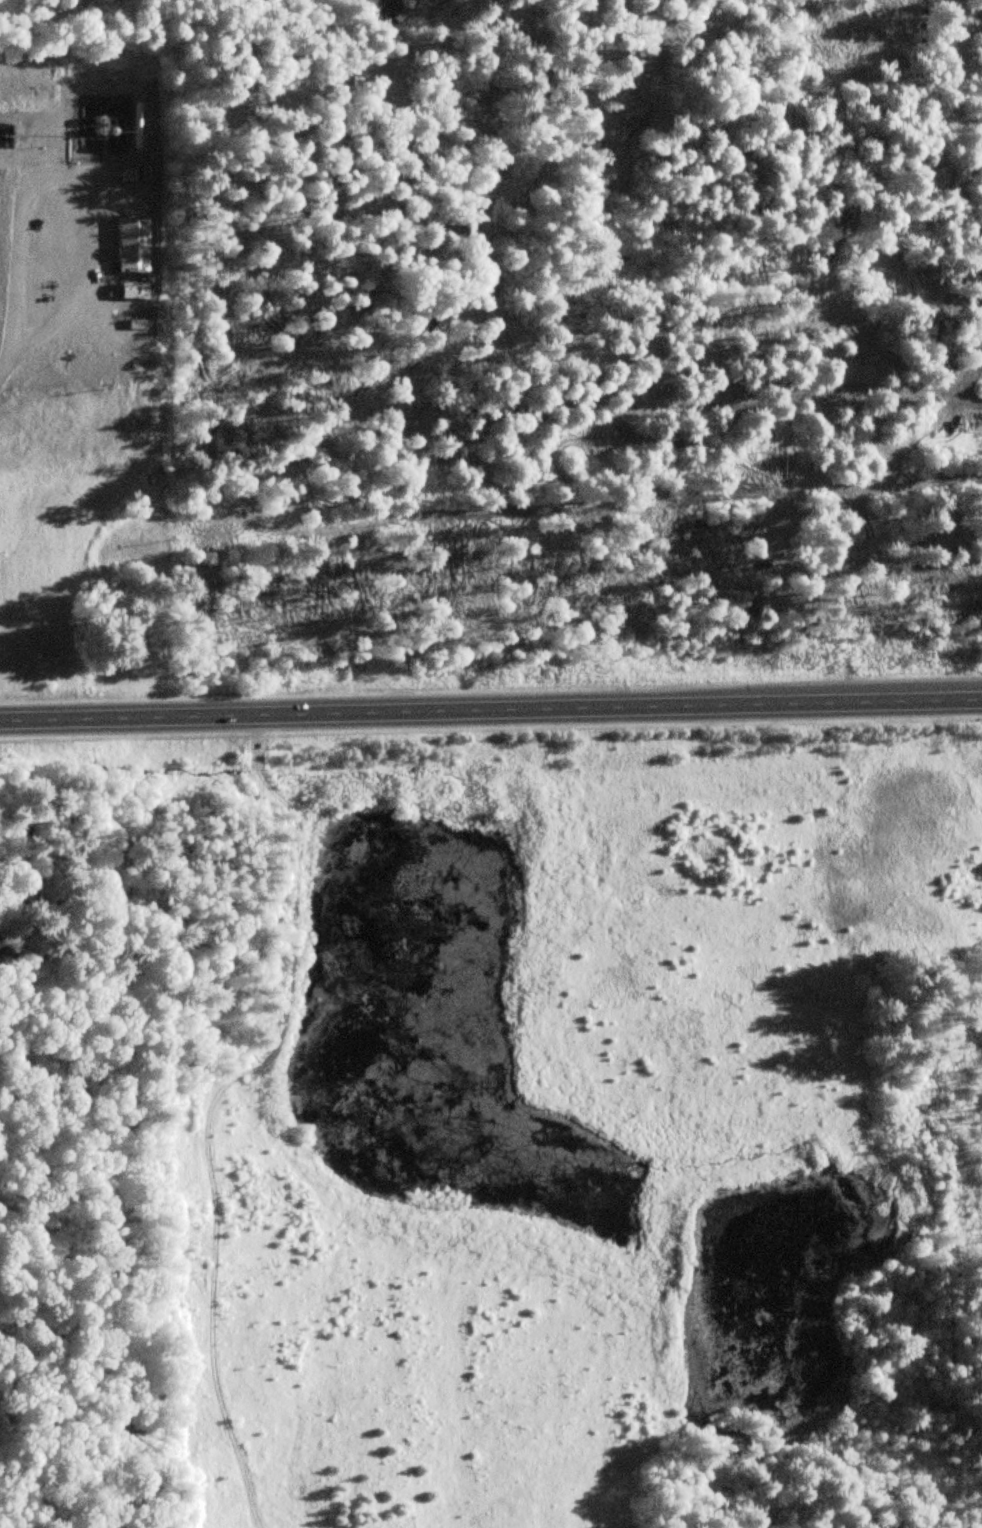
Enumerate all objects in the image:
building: (127, 174)
road: (87, 198)
building: (130, 245)
road: (490, 707)

